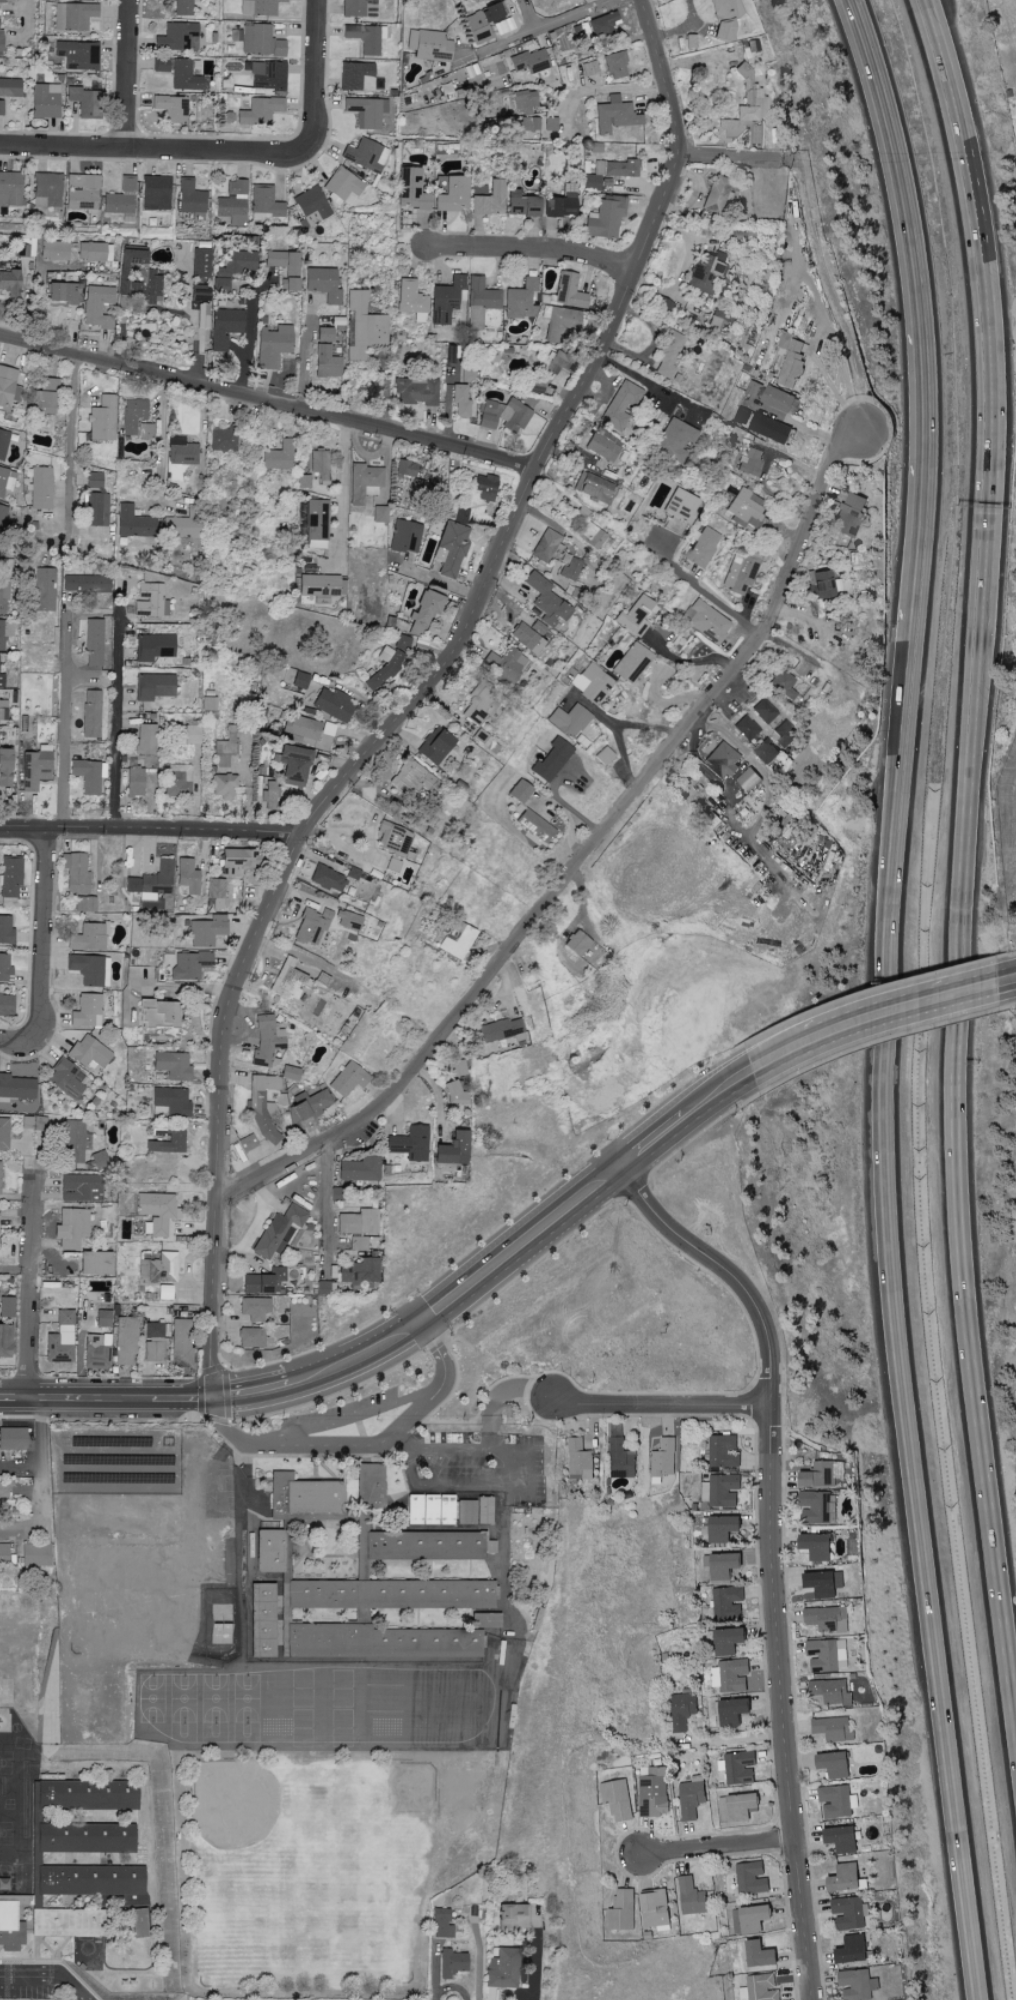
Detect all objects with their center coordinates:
building: (1, 0)
building: (182, 7)
building: (258, 7)
building: (358, 8)
building: (73, 15)
building: (724, 17)
road: (27, 19)
building: (486, 23)
building: (601, 25)
road: (539, 27)
building: (177, 37)
building: (365, 37)
building: (259, 38)
building: (1, 39)
building: (411, 39)
building: (432, 46)
building: (740, 49)
building: (77, 54)
building: (530, 61)
building: (615, 65)
building: (501, 66)
building: (589, 68)
building: (179, 73)
road: (120, 75)
building: (267, 75)
building: (356, 76)
road: (308, 77)
building: (10, 87)
road: (599, 90)
building: (44, 100)
building: (84, 101)
building: (524, 101)
building: (744, 106)
building: (1, 107)
building: (171, 108)
building: (259, 110)
building: (364, 112)
building: (614, 115)
building: (526, 124)
building: (550, 124)
road: (153, 150)
building: (365, 155)
road: (729, 157)
building: (609, 172)
building: (440, 185)
building: (343, 186)
building: (10, 189)
building: (412, 189)
building: (47, 190)
building: (82, 192)
building: (155, 192)
building: (717, 193)
building: (453, 194)
building: (190, 197)
building: (487, 198)
building: (121, 199)
building: (232, 202)
building: (265, 203)
building: (521, 204)
building: (560, 205)
building: (311, 207)
building: (604, 217)
building: (53, 250)
road: (528, 250)
building: (94, 251)
building: (284, 261)
building: (200, 262)
building: (233, 268)
road: (824, 269)
building: (704, 275)
building: (137, 279)
building: (10, 283)
building: (289, 284)
building: (323, 284)
building: (568, 290)
building: (198, 293)
building: (63, 294)
building: (445, 299)
building: (521, 299)
building: (411, 300)
building: (479, 301)
building: (97, 306)
building: (201, 321)
building: (559, 323)
building: (364, 326)
building: (224, 327)
building: (324, 334)
road: (996, 342)
road: (246, 344)
building: (273, 345)
building: (668, 354)
building: (792, 360)
building: (326, 362)
building: (559, 363)
building: (468, 373)
road: (650, 384)
building: (8, 387)
building: (753, 387)
building: (416, 390)
building: (44, 396)
building: (778, 397)
road: (268, 398)
building: (460, 399)
building: (620, 406)
building: (132, 414)
building: (743, 414)
building: (503, 415)
building: (102, 419)
road: (71, 426)
building: (771, 426)
road: (801, 426)
road: (162, 428)
building: (144, 430)
building: (222, 439)
building: (673, 441)
building: (3, 443)
building: (603, 445)
building: (181, 451)
building: (279, 456)
road: (789, 459)
building: (750, 461)
building: (319, 464)
building: (408, 468)
building: (6, 479)
building: (94, 480)
building: (303, 481)
building: (364, 482)
building: (485, 486)
building: (40, 487)
road: (341, 487)
building: (593, 487)
building: (680, 505)
building: (94, 509)
building: (745, 509)
building: (380, 514)
building: (461, 515)
building: (848, 515)
building: (2, 516)
building: (316, 519)
building: (134, 523)
building: (181, 527)
building: (405, 536)
building: (595, 539)
building: (316, 544)
building: (545, 545)
building: (701, 546)
building: (450, 548)
building: (571, 569)
building: (740, 572)
building: (85, 583)
building: (822, 583)
building: (321, 584)
road: (701, 593)
building: (4, 597)
building: (150, 601)
building: (546, 602)
building: (424, 612)
building: (634, 616)
building: (705, 620)
building: (536, 628)
building: (5, 631)
building: (525, 638)
building: (93, 642)
building: (401, 642)
building: (154, 646)
building: (632, 662)
road: (688, 662)
building: (502, 665)
building: (384, 667)
building: (1, 680)
building: (299, 680)
building: (592, 682)
building: (783, 684)
building: (154, 686)
road: (732, 693)
road: (419, 699)
building: (333, 704)
building: (478, 705)
building: (208, 707)
building: (2, 708)
road: (593, 709)
building: (764, 711)
building: (90, 713)
building: (568, 717)
road: (62, 718)
road: (115, 720)
road: (613, 726)
building: (301, 727)
building: (328, 729)
building: (748, 730)
building: (785, 733)
building: (191, 734)
building: (145, 739)
building: (300, 740)
building: (435, 745)
building: (226, 747)
building: (767, 751)
building: (552, 760)
building: (723, 760)
building: (294, 765)
building: (5, 767)
building: (35, 769)
building: (88, 775)
building: (410, 777)
building: (750, 778)
building: (177, 780)
building: (134, 782)
building: (223, 786)
building: (519, 791)
building: (269, 795)
building: (534, 826)
road: (151, 831)
road: (597, 837)
building: (394, 840)
building: (238, 860)
building: (347, 871)
building: (75, 872)
building: (10, 875)
building: (187, 875)
building: (152, 881)
building: (333, 881)
building: (216, 891)
building: (83, 903)
building: (348, 920)
building: (311, 926)
building: (6, 930)
building: (206, 930)
building: (88, 937)
building: (455, 939)
building: (577, 942)
road: (42, 951)
building: (189, 964)
building: (4, 965)
building: (86, 968)
building: (105, 971)
road: (1015, 976)
building: (289, 979)
road: (887, 998)
road: (923, 998)
building: (6, 1004)
building: (86, 1010)
building: (159, 1013)
building: (499, 1030)
building: (266, 1040)
building: (88, 1051)
building: (173, 1065)
building: (457, 1068)
building: (67, 1078)
building: (348, 1079)
building: (16, 1086)
road: (726, 1090)
building: (455, 1094)
building: (170, 1101)
building: (309, 1105)
building: (262, 1106)
building: (3, 1133)
building: (73, 1140)
building: (247, 1142)
building: (168, 1143)
building: (410, 1143)
building: (453, 1149)
building: (0, 1161)
building: (360, 1169)
road: (965, 1181)
building: (80, 1187)
road: (325, 1205)
building: (358, 1222)
building: (72, 1227)
building: (277, 1230)
building: (358, 1243)
building: (95, 1263)
building: (158, 1268)
building: (358, 1271)
building: (263, 1281)
building: (323, 1285)
road: (31, 1287)
building: (165, 1291)
building: (6, 1306)
building: (254, 1307)
building: (101, 1318)
building: (251, 1337)
building: (61, 1338)
building: (5, 1340)
building: (126, 1341)
building: (154, 1341)
building: (181, 1343)
building: (97, 1350)
road: (440, 1355)
road: (342, 1367)
road: (499, 1399)
road: (654, 1404)
parking lot: (342, 1415)
road: (351, 1418)
building: (12, 1438)
road: (403, 1442)
road: (326, 1447)
building: (723, 1449)
building: (665, 1456)
building: (622, 1457)
building: (580, 1458)
parking lot: (481, 1467)
building: (823, 1472)
road: (40, 1481)
building: (369, 1483)
road: (523, 1486)
building: (3, 1488)
building: (721, 1488)
building: (303, 1495)
building: (815, 1505)
road: (215, 1506)
building: (431, 1507)
building: (484, 1509)
building: (466, 1511)
building: (719, 1526)
building: (818, 1544)
building: (424, 1545)
building: (489, 1546)
building: (270, 1550)
building: (4, 1554)
building: (35, 1554)
road: (769, 1554)
building: (722, 1564)
building: (825, 1581)
building: (390, 1594)
building: (728, 1601)
building: (828, 1617)
building: (262, 1620)
building: (485, 1620)
building: (222, 1633)
building: (725, 1639)
building: (311, 1640)
building: (417, 1642)
building: (828, 1653)
building: (731, 1674)
building: (832, 1690)
building: (683, 1709)
building: (733, 1709)
building: (834, 1727)
road: (734, 1742)
building: (835, 1763)
building: (739, 1766)
building: (653, 1791)
building: (85, 1794)
building: (692, 1796)
building: (617, 1798)
building: (837, 1800)
building: (738, 1806)
building: (842, 1837)
building: (83, 1838)
road: (720, 1845)
building: (752, 1876)
building: (847, 1877)
building: (90, 1880)
building: (692, 1895)
building: (656, 1908)
building: (622, 1909)
building: (849, 1911)
building: (512, 1917)
building: (751, 1917)
building: (68, 1922)
building: (138, 1922)
building: (441, 1923)
building: (10, 1927)
building: (853, 1948)
building: (760, 1952)
building: (451, 1963)
building: (502, 1968)
road: (528, 1968)
road: (46, 1977)
building: (858, 1983)
building: (760, 1987)

